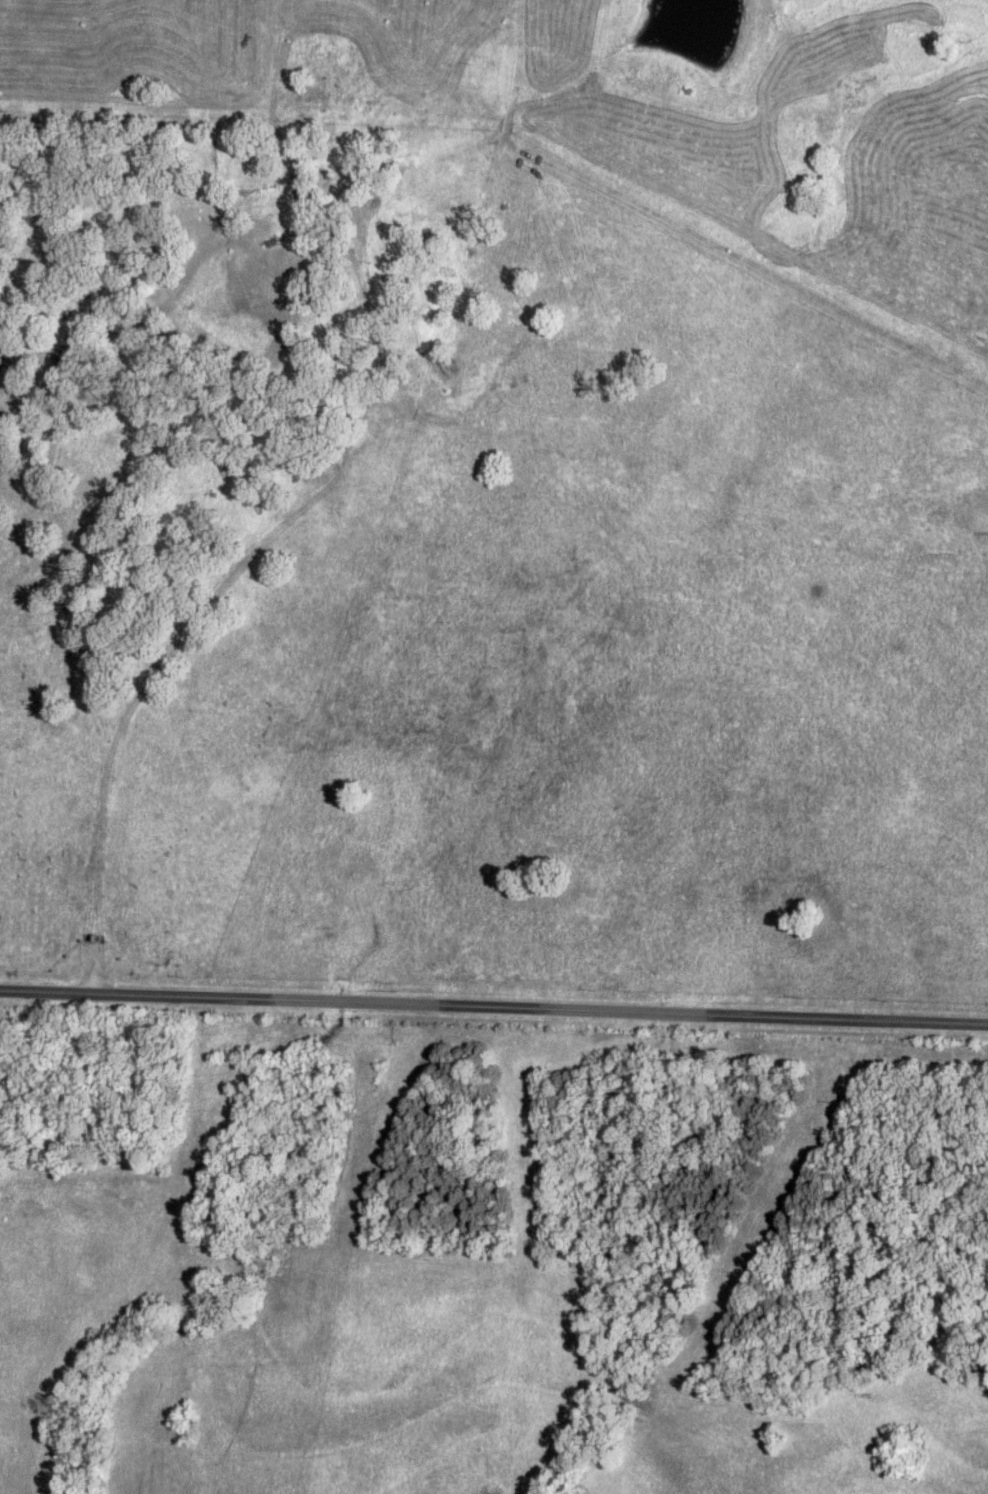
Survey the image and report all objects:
road: (494, 1003)

